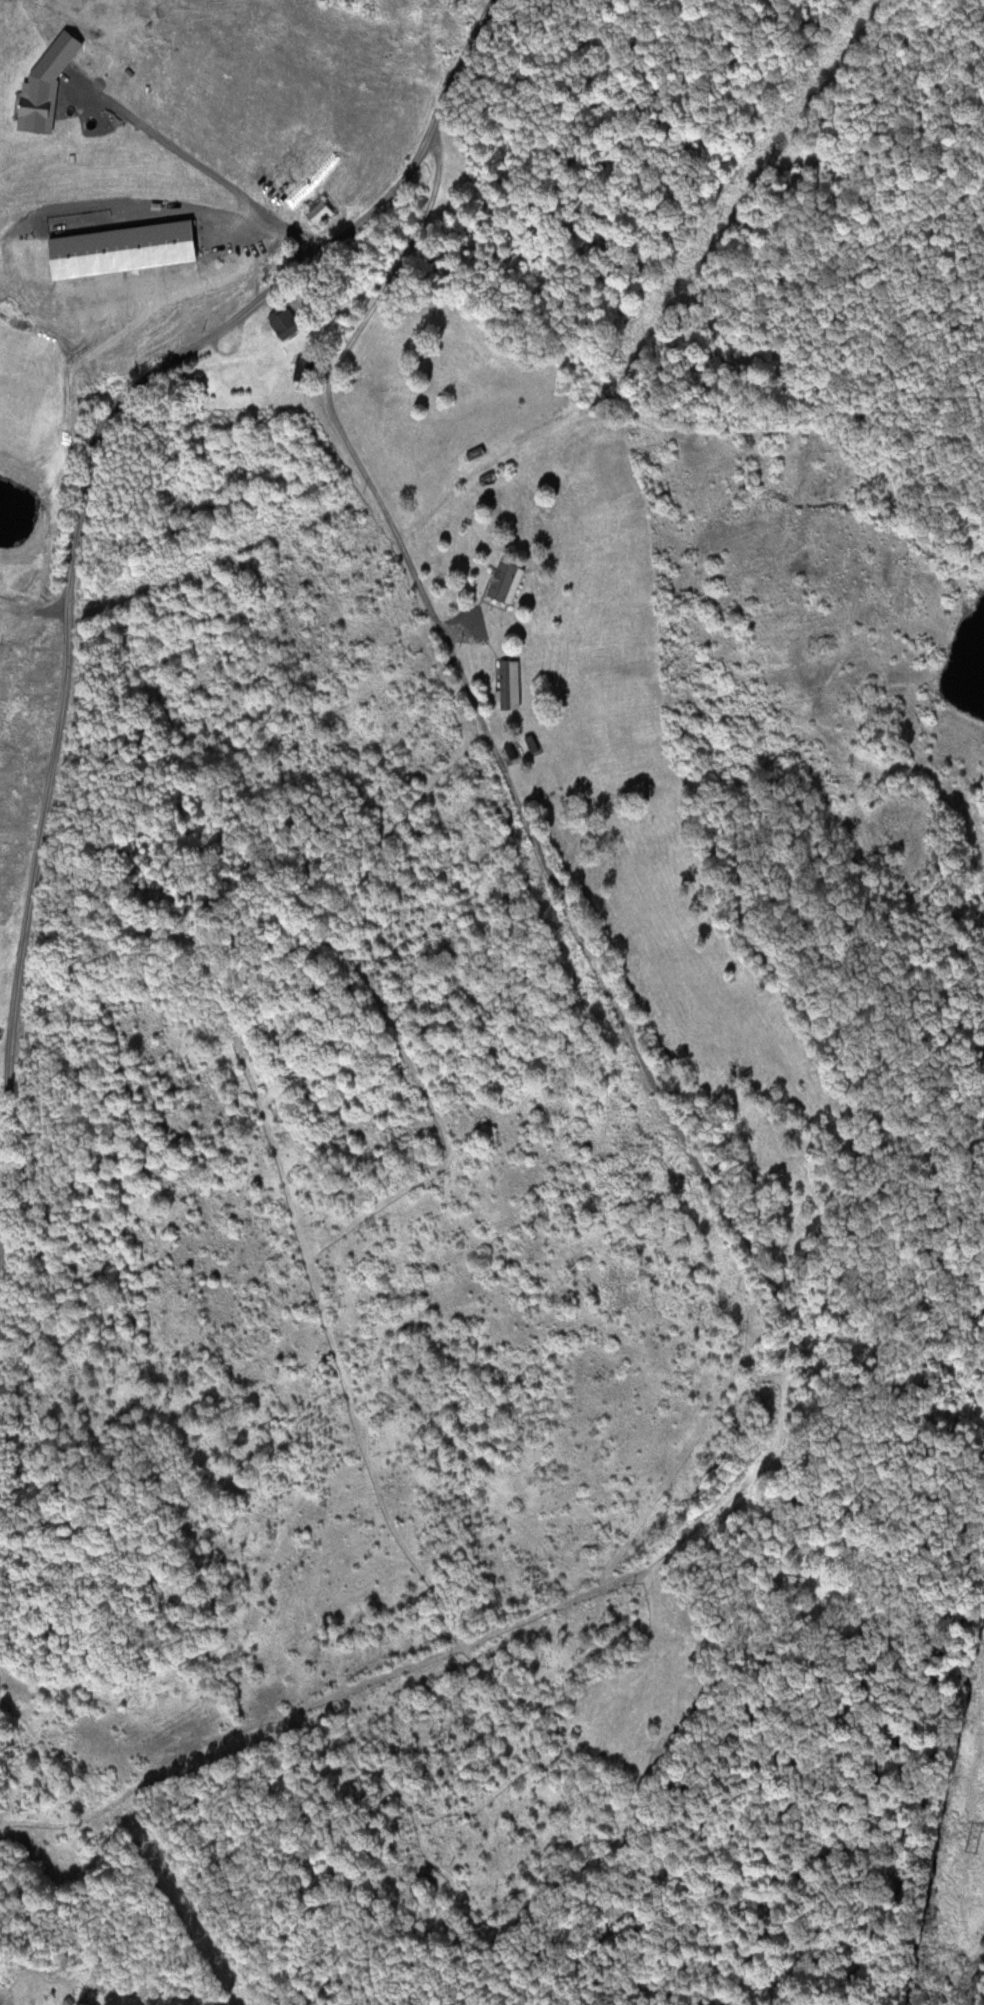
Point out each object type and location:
building: (314, 212)
road: (333, 238)
building: (280, 322)
building: (501, 582)
building: (505, 684)
building: (510, 751)
road: (43, 796)
power tower: (966, 1843)

